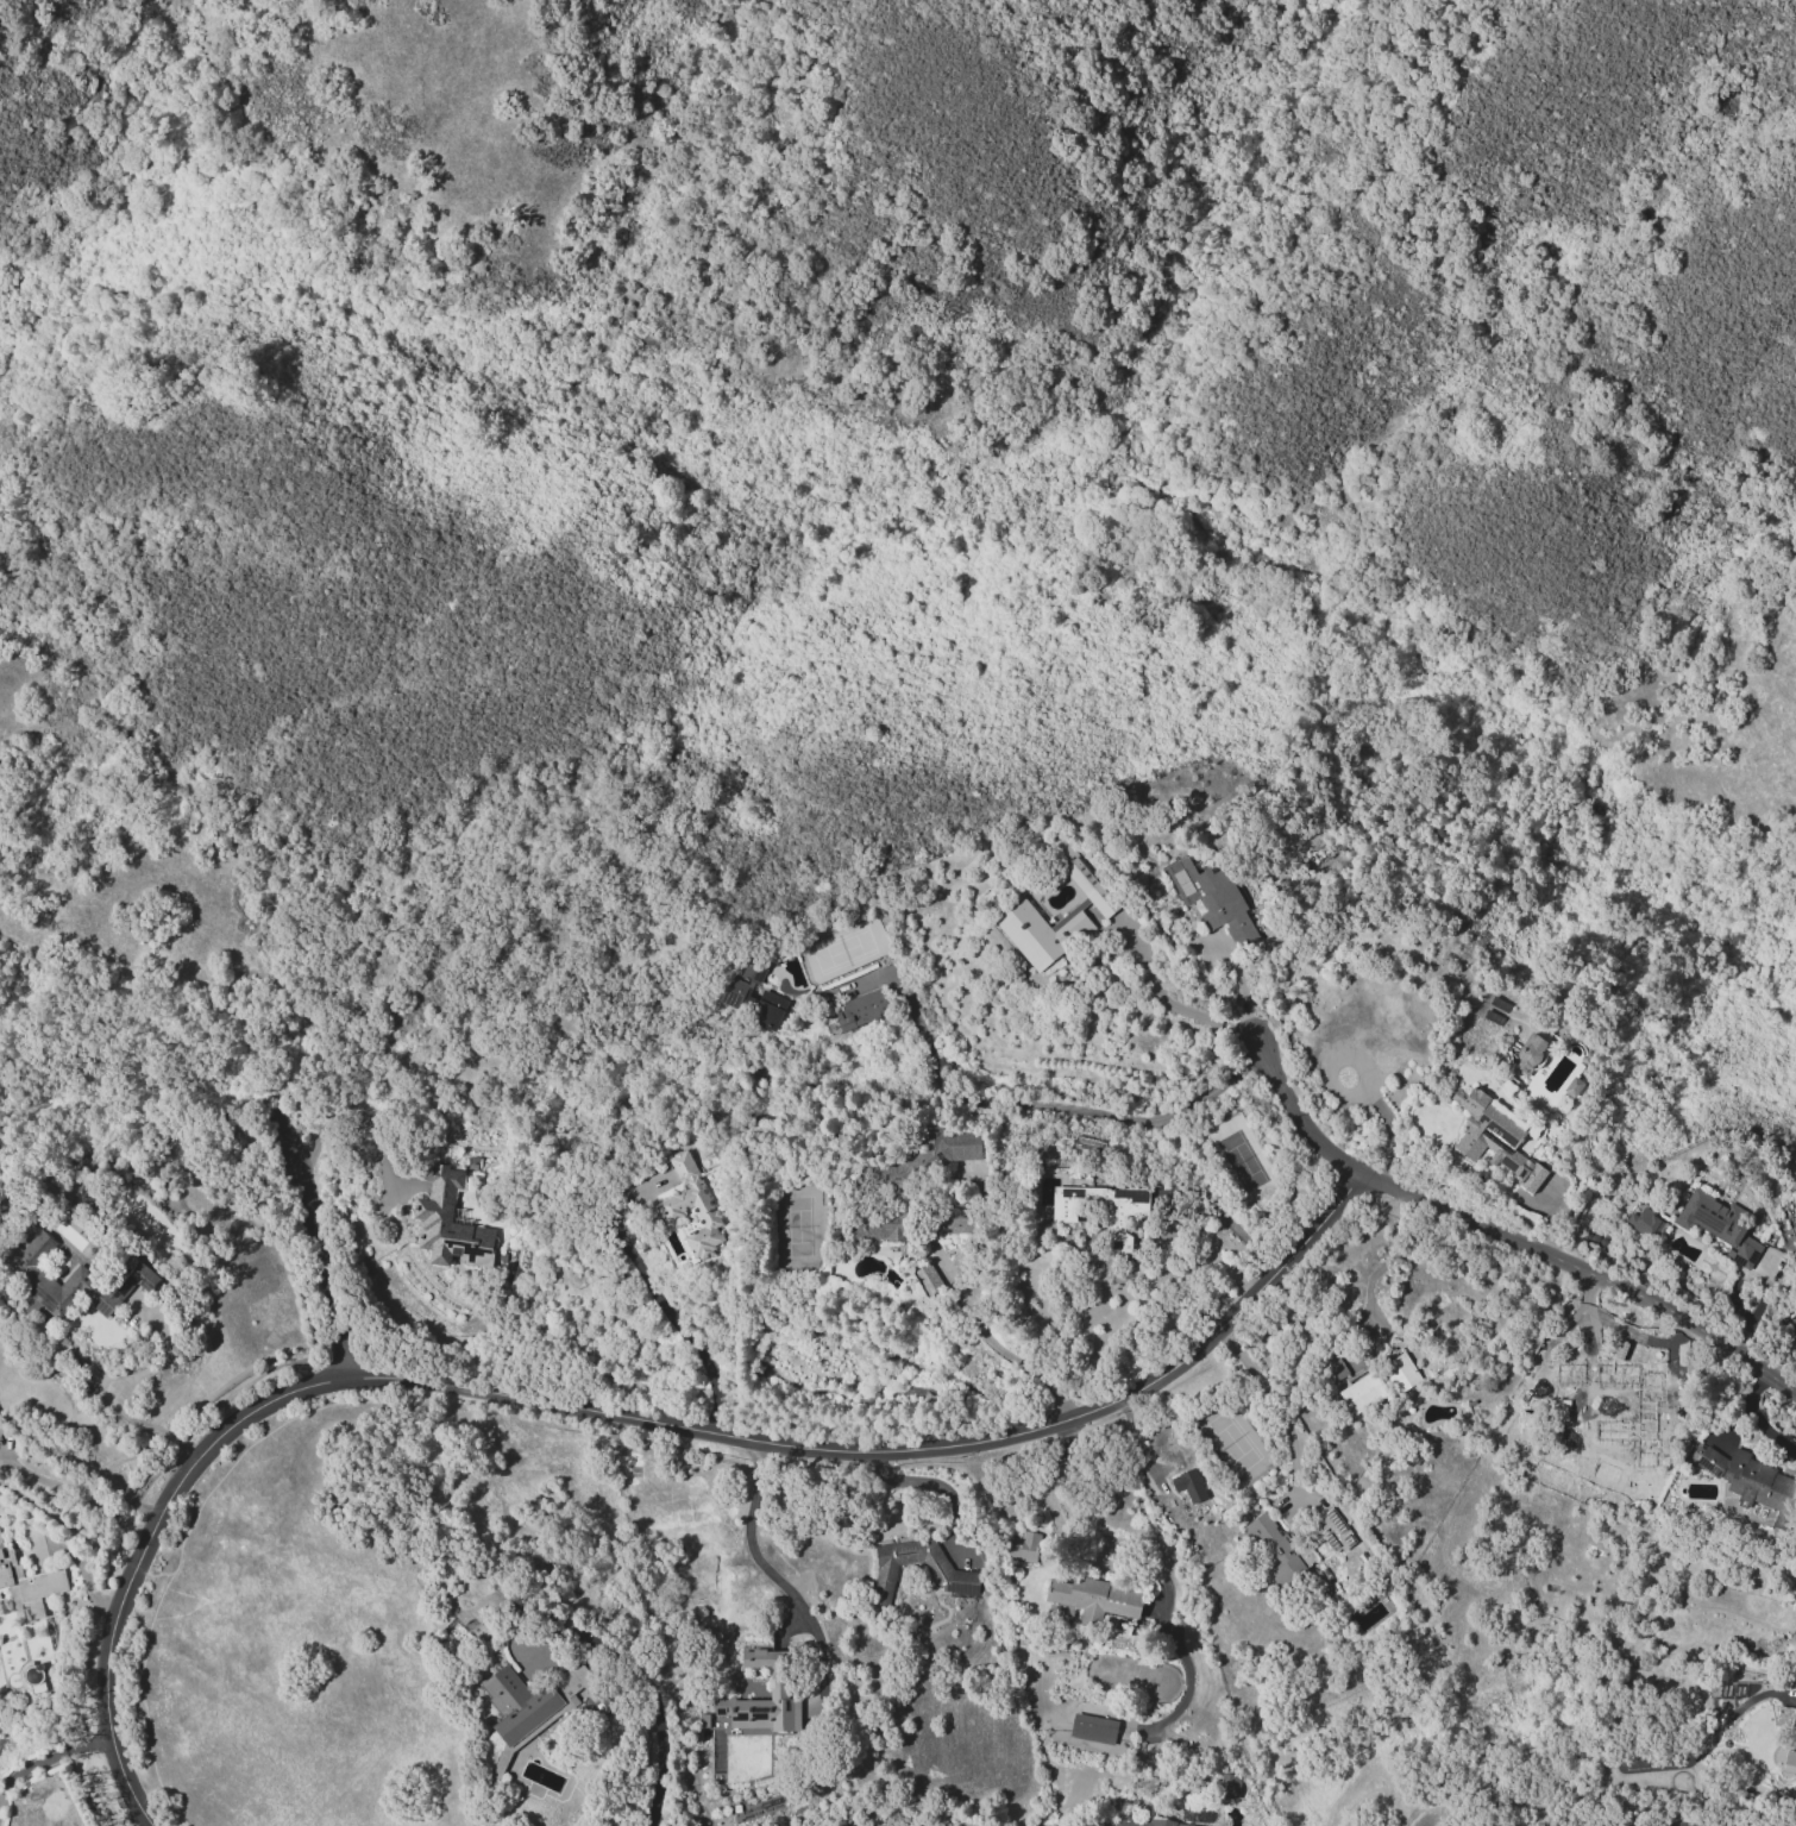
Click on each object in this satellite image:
road: (7, 303)
building: (1085, 880)
building: (1212, 899)
building: (1041, 933)
building: (753, 970)
road: (178, 980)
road: (1238, 986)
building: (733, 992)
road: (1175, 1005)
building: (860, 1009)
building: (767, 1010)
building: (1530, 1054)
road: (1047, 1104)
road: (377, 1117)
building: (1494, 1137)
building: (912, 1178)
road: (1204, 1193)
building: (692, 1205)
building: (1062, 1218)
building: (952, 1219)
building: (453, 1221)
building: (1644, 1222)
building: (1717, 1225)
road: (1501, 1237)
road: (315, 1242)
road: (1380, 1263)
building: (80, 1272)
building: (927, 1279)
road: (655, 1298)
road: (1593, 1328)
road: (1010, 1357)
building: (1400, 1372)
road: (100, 1380)
road: (124, 1383)
building: (1362, 1392)
road: (1274, 1403)
building: (1605, 1410)
road: (608, 1416)
building: (1750, 1481)
road: (922, 1485)
building: (1188, 1485)
road: (75, 1493)
road: (1047, 1501)
road: (67, 1526)
building: (1330, 1531)
road: (746, 1532)
building: (1023, 1546)
building: (1275, 1550)
building: (943, 1569)
road: (81, 1571)
building: (27, 1585)
building: (1094, 1598)
building: (571, 1680)
building: (758, 1700)
building: (522, 1705)
building: (1092, 1728)
road: (657, 1745)
road: (50, 1756)
building: (1227, 1786)
building: (1148, 1822)

